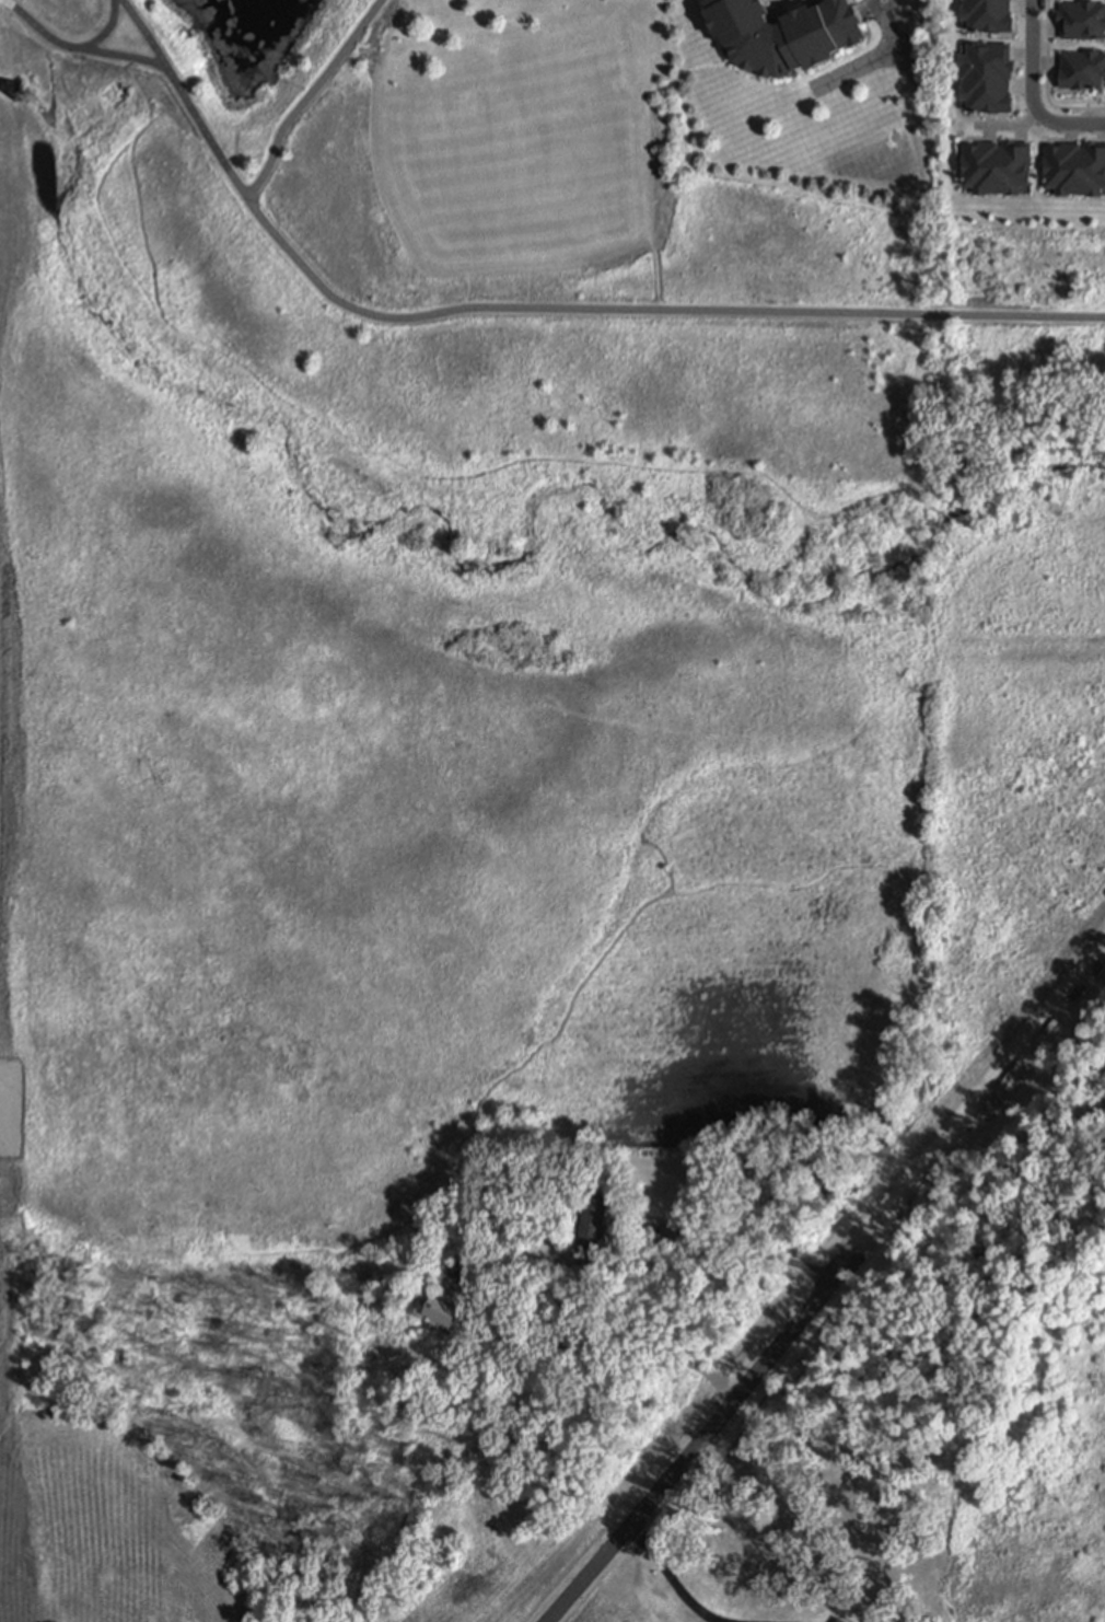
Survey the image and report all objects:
road: (869, 10)
building: (987, 15)
building: (1083, 20)
road: (106, 28)
road: (141, 33)
building: (786, 34)
road: (55, 42)
parking lot: (894, 50)
road: (882, 57)
road: (1032, 57)
building: (1082, 68)
building: (986, 78)
road: (1048, 80)
road: (307, 96)
road: (1044, 116)
building: (995, 166)
building: (1074, 169)
park: (631, 207)
road: (551, 306)
road: (487, 468)
road: (7, 1109)
parking lot: (11, 1109)
building: (594, 1223)
building: (654, 1240)
road: (732, 1244)
road: (826, 1286)
building: (447, 1310)
road: (624, 1353)
road: (670, 1576)
building: (838, 1620)

